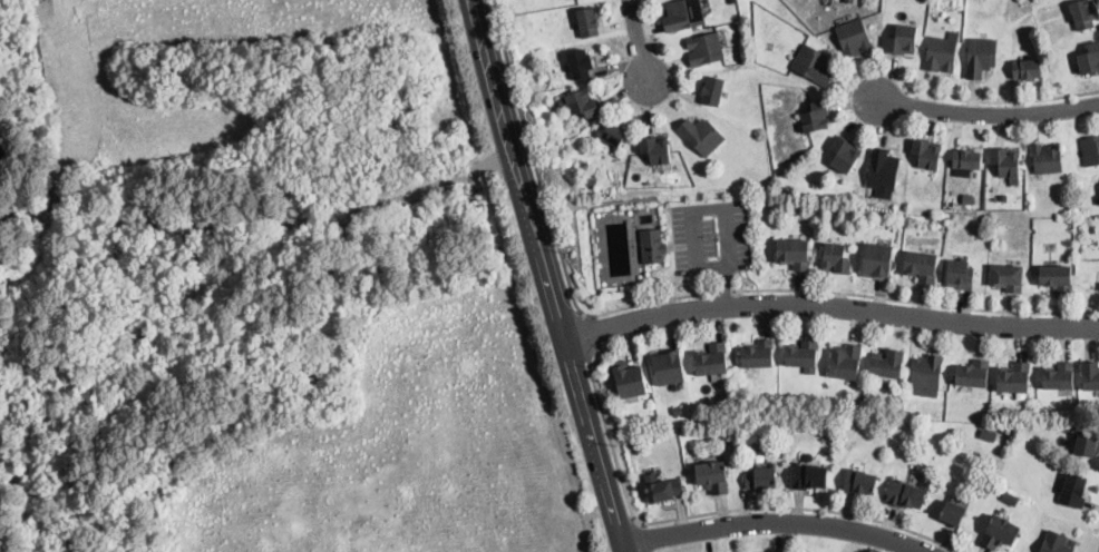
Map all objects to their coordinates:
building: (848, 0)
building: (827, 1)
building: (1082, 13)
building: (684, 16)
building: (587, 22)
building: (853, 38)
road: (640, 39)
road: (652, 39)
building: (902, 40)
building: (704, 49)
building: (940, 55)
building: (980, 57)
building: (1089, 59)
building: (580, 63)
building: (813, 65)
building: (1027, 69)
building: (712, 90)
road: (1002, 99)
building: (583, 103)
road: (983, 111)
building: (815, 117)
building: (614, 134)
building: (701, 135)
building: (657, 149)
building: (1090, 150)
building: (926, 154)
building: (844, 155)
building: (965, 159)
building: (1045, 159)
building: (582, 161)
building: (1005, 162)
building: (882, 170)
building: (591, 180)
building: (967, 197)
building: (1003, 198)
building: (978, 204)
road: (552, 221)
building: (1091, 229)
parking lot: (710, 235)
building: (652, 246)
building: (794, 253)
building: (836, 258)
building: (877, 260)
building: (921, 265)
road: (694, 267)
building: (960, 274)
road: (538, 277)
building: (1006, 277)
building: (1057, 278)
road: (722, 287)
park: (265, 288)
road: (723, 290)
road: (915, 302)
road: (826, 309)
road: (585, 332)
building: (758, 354)
building: (801, 354)
building: (711, 361)
building: (845, 361)
building: (886, 363)
building: (668, 366)
building: (926, 372)
building: (973, 374)
building: (1090, 375)
building: (1058, 376)
building: (1013, 378)
building: (629, 379)
building: (678, 410)
building: (936, 412)
building: (790, 428)
building: (651, 433)
building: (931, 433)
building: (989, 434)
building: (1086, 443)
building: (808, 474)
building: (712, 476)
building: (761, 477)
building: (859, 482)
building: (664, 490)
building: (1012, 491)
building: (1073, 491)
building: (906, 494)
building: (953, 511)
road: (707, 513)
road: (774, 521)
building: (1000, 532)
road: (643, 535)
building: (1056, 543)

